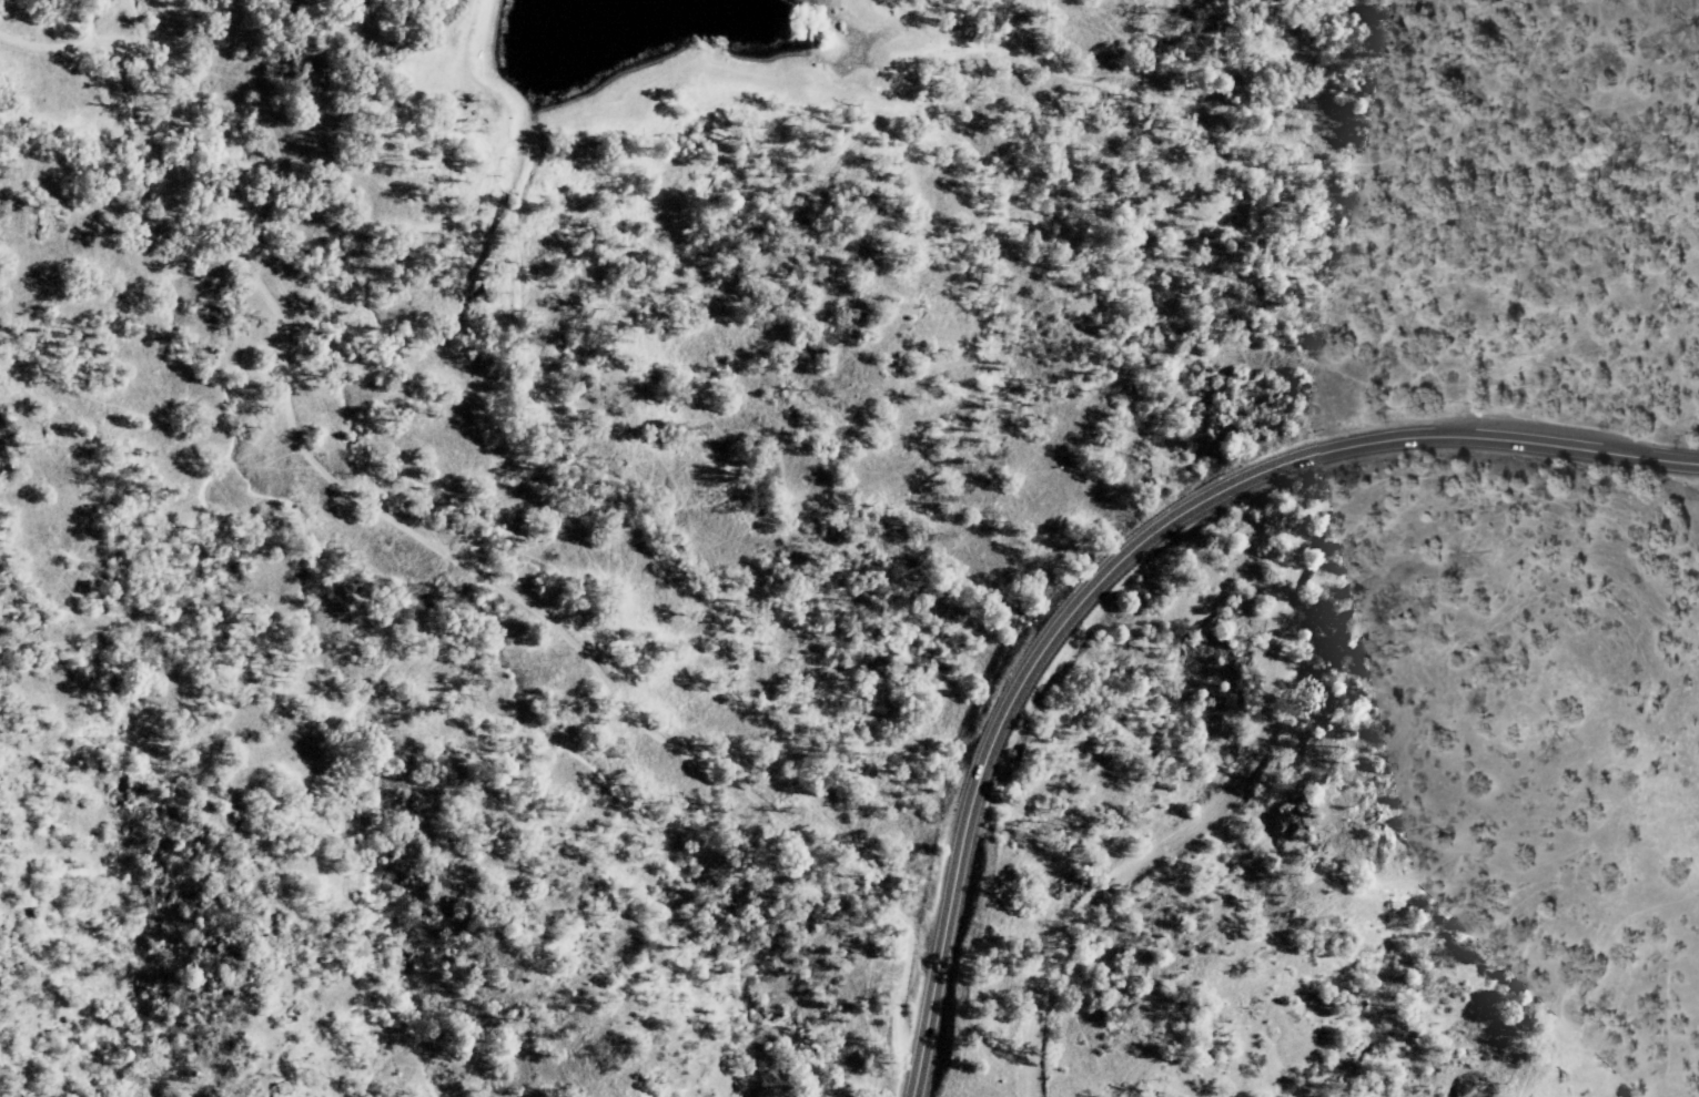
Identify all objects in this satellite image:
road: (411, 535)
road: (1132, 556)

